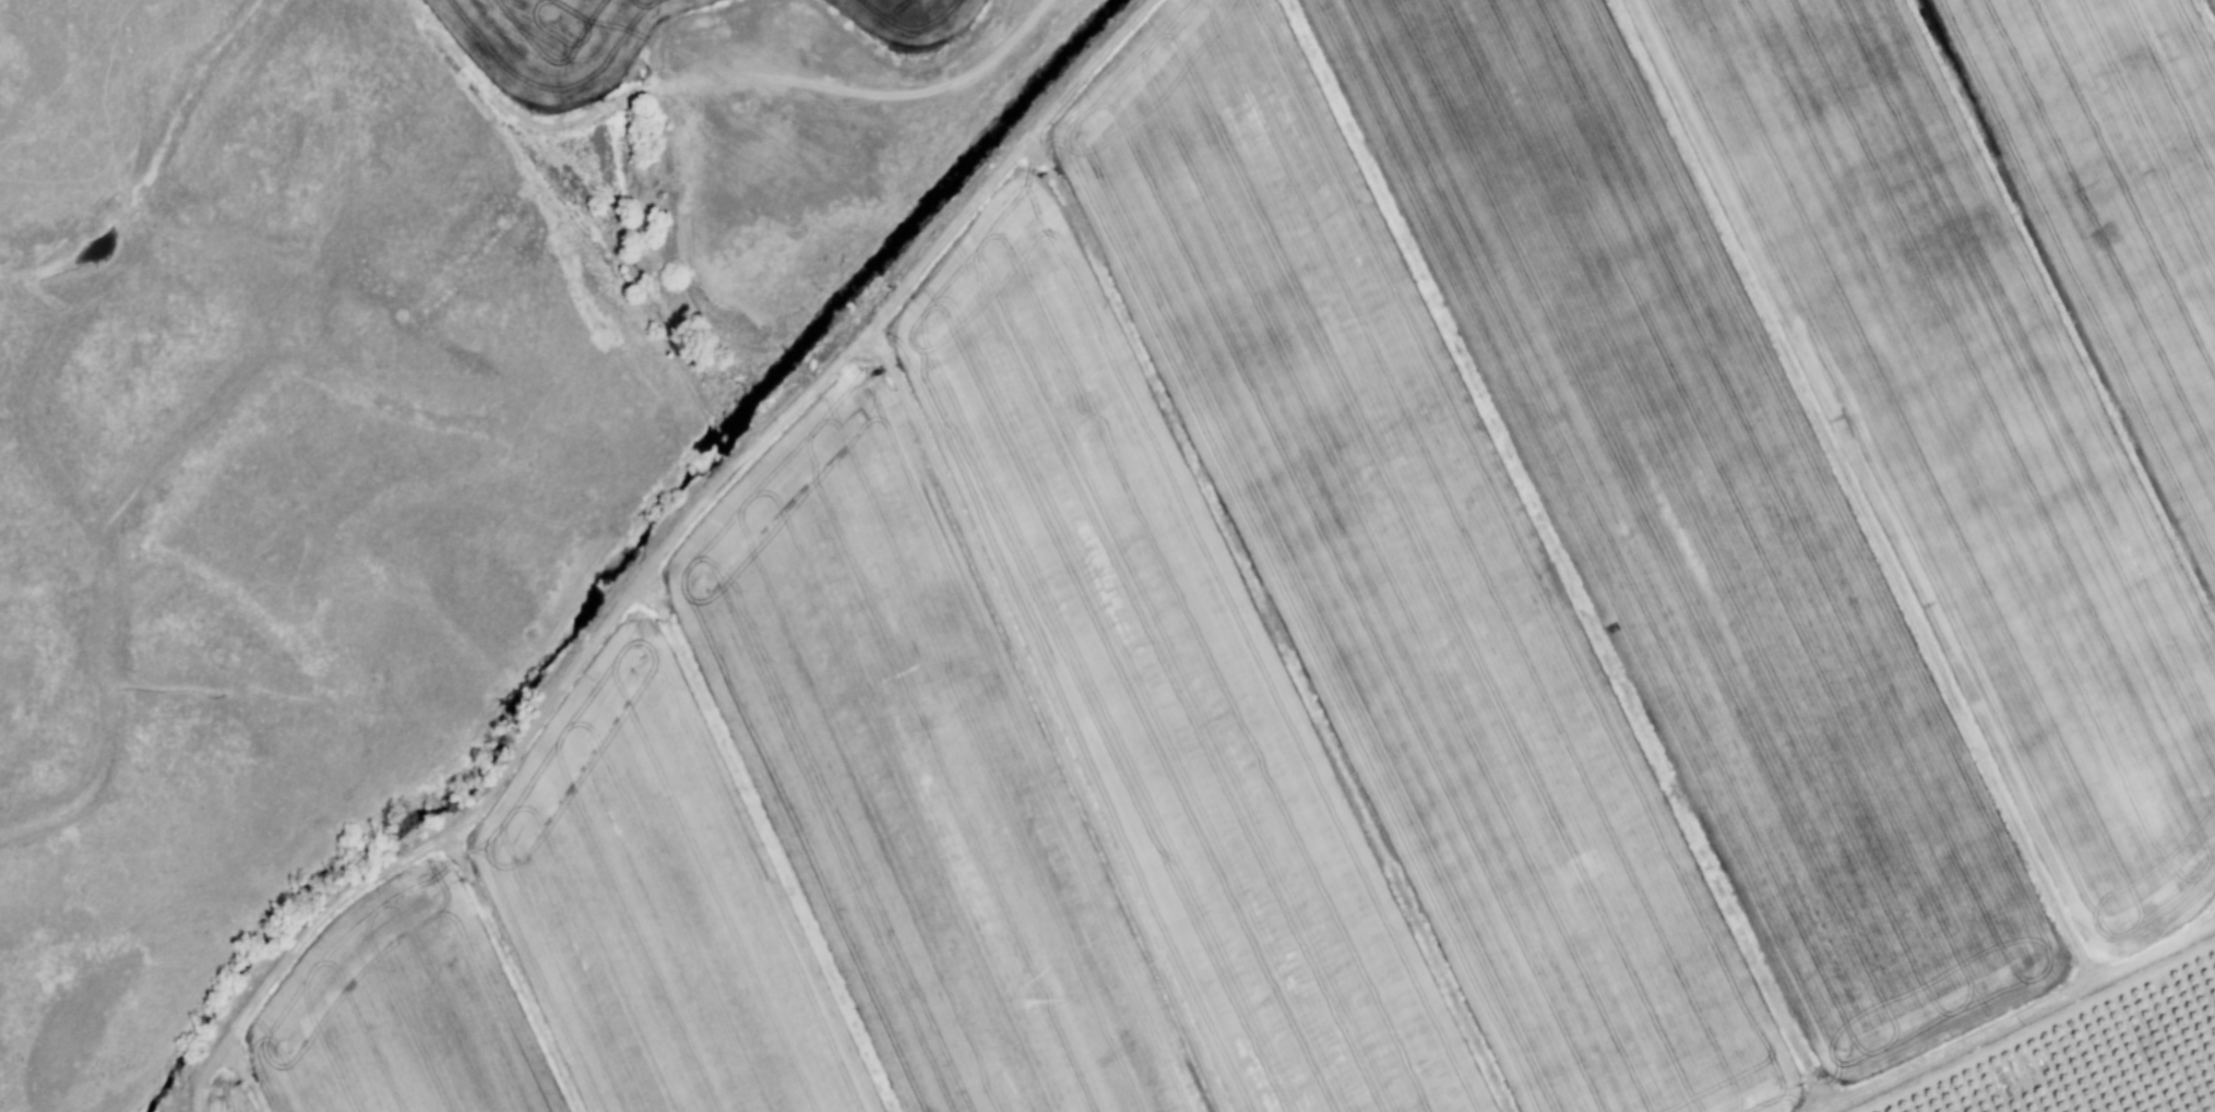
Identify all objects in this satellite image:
road: (1404, 49)
road: (2196, 905)
road: (1975, 1012)

